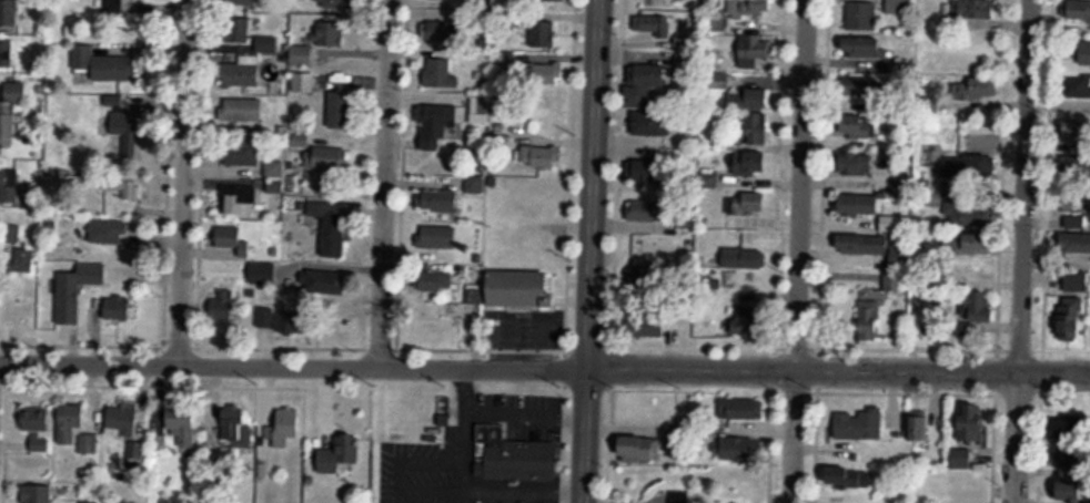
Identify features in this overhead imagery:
building: (545, 0)
building: (244, 2)
building: (336, 3)
building: (111, 6)
building: (750, 7)
building: (899, 7)
building: (975, 9)
building: (1078, 10)
building: (9, 16)
building: (860, 16)
building: (716, 21)
building: (650, 23)
building: (330, 31)
building: (443, 31)
building: (249, 34)
building: (546, 35)
building: (861, 48)
building: (754, 51)
building: (7, 53)
building: (1084, 53)
building: (301, 54)
building: (102, 64)
building: (241, 72)
building: (443, 72)
building: (547, 74)
building: (302, 81)
building: (644, 83)
building: (861, 85)
building: (1077, 86)
building: (976, 88)
building: (749, 100)
building: (242, 110)
building: (340, 110)
building: (478, 110)
building: (11, 112)
building: (652, 124)
building: (435, 125)
building: (858, 127)
building: (757, 129)
building: (127, 133)
building: (1080, 148)
building: (240, 153)
building: (541, 157)
building: (330, 158)
building: (753, 164)
building: (857, 164)
building: (965, 168)
building: (647, 173)
road: (181, 177)
road: (383, 179)
building: (240, 196)
building: (441, 202)
building: (746, 208)
building: (645, 211)
building: (871, 211)
building: (968, 212)
building: (329, 224)
building: (1076, 234)
building: (440, 237)
building: (105, 238)
building: (229, 238)
building: (970, 246)
building: (878, 249)
road: (589, 250)
road: (1017, 250)
road: (798, 251)
building: (745, 259)
building: (259, 266)
building: (647, 279)
building: (438, 280)
building: (894, 281)
building: (1074, 283)
building: (321, 285)
building: (519, 289)
building: (77, 290)
building: (977, 307)
building: (118, 310)
building: (1071, 318)
building: (748, 320)
building: (869, 320)
building: (646, 325)
road: (545, 361)
building: (741, 409)
building: (36, 420)
building: (121, 421)
building: (69, 422)
building: (971, 422)
building: (181, 424)
building: (858, 425)
building: (235, 427)
building: (917, 427)
building: (1070, 427)
building: (284, 428)
building: (682, 434)
building: (640, 449)
building: (741, 450)
building: (133, 454)
building: (340, 454)
building: (1072, 458)
building: (960, 459)
building: (522, 460)
building: (847, 476)
building: (1070, 491)
building: (37, 493)
building: (677, 496)
building: (89, 502)

